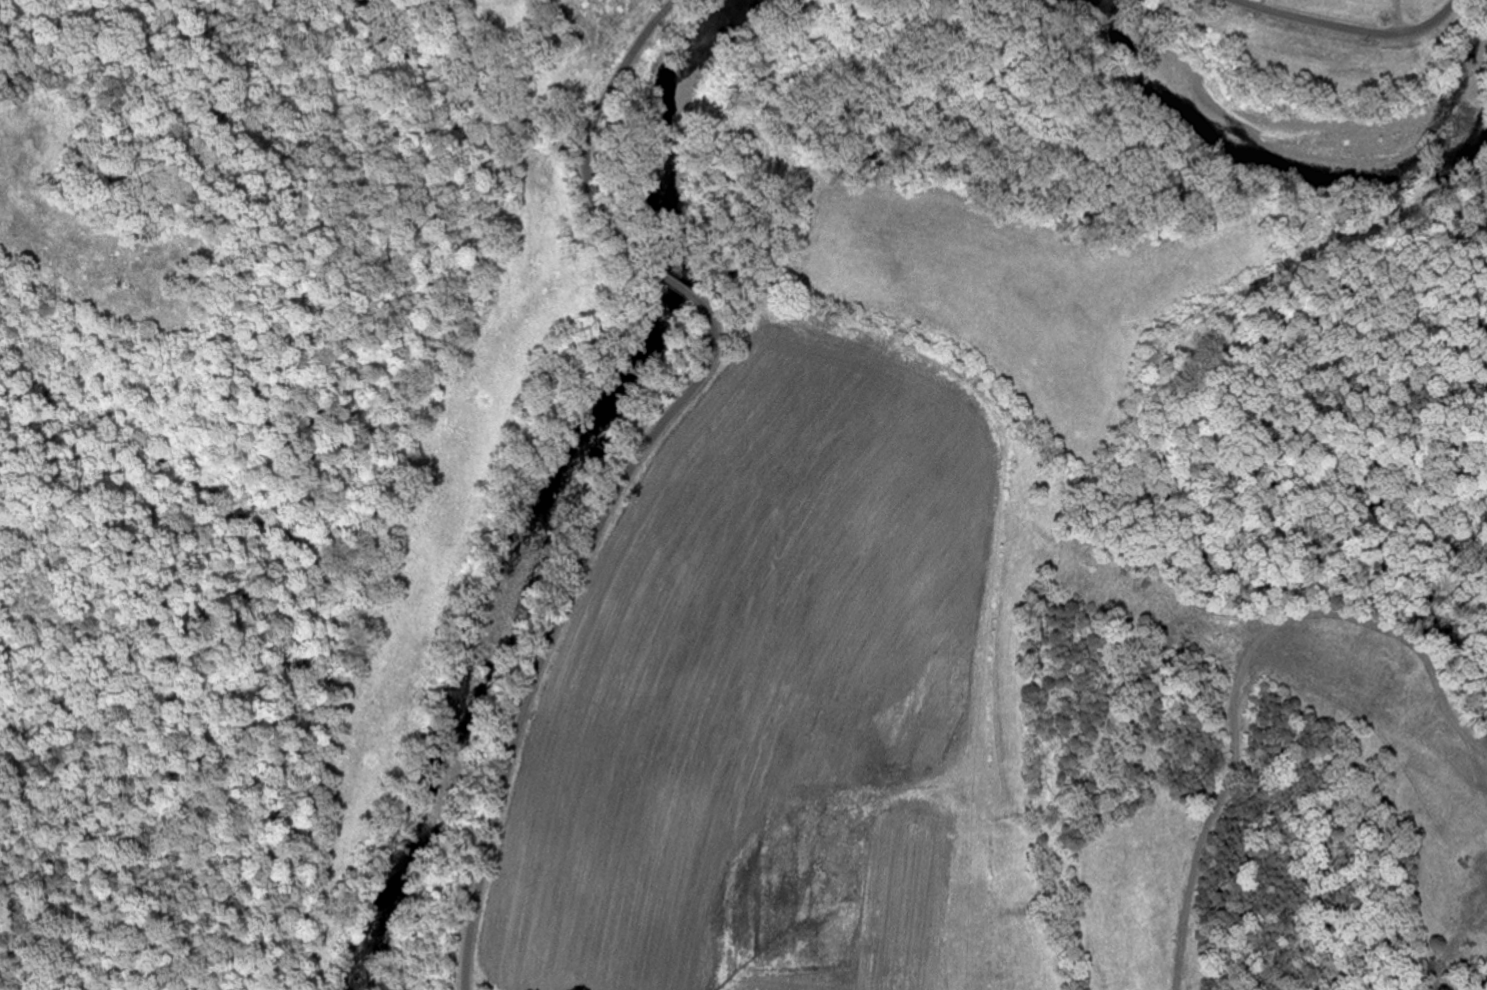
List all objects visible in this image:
road: (1393, 17)
road: (1349, 28)
road: (637, 461)

